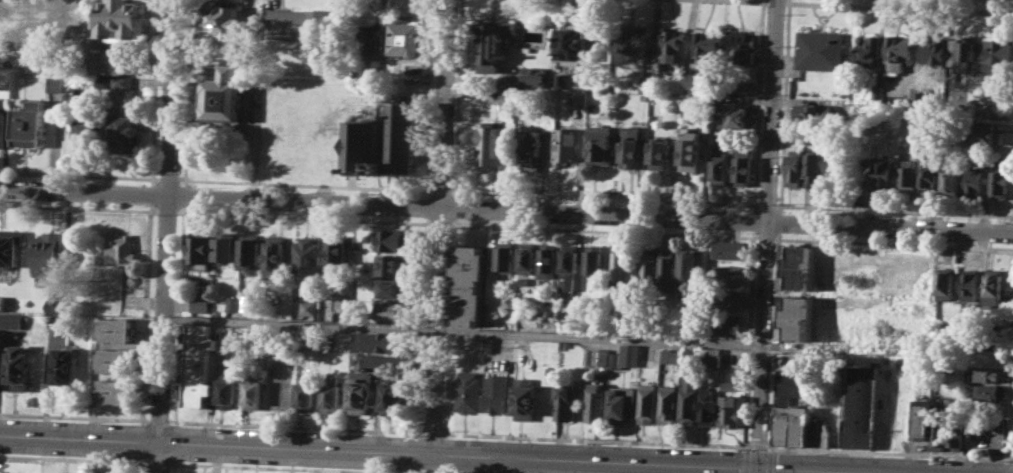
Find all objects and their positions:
road: (757, 0)
road: (874, 5)
road: (422, 9)
building: (121, 18)
building: (227, 20)
building: (298, 22)
building: (410, 38)
building: (373, 39)
building: (631, 42)
building: (496, 43)
building: (708, 44)
building: (744, 44)
building: (674, 45)
building: (577, 48)
building: (821, 49)
building: (871, 51)
building: (900, 52)
building: (935, 52)
building: (964, 52)
building: (1000, 55)
building: (109, 61)
building: (534, 77)
building: (561, 80)
building: (695, 80)
building: (6, 81)
building: (103, 81)
building: (122, 81)
building: (651, 82)
building: (53, 83)
building: (729, 90)
building: (880, 91)
road: (189, 93)
building: (223, 94)
building: (921, 94)
building: (506, 99)
building: (581, 99)
road: (759, 102)
road: (785, 102)
building: (0, 108)
building: (807, 111)
building: (741, 117)
building: (29, 124)
building: (85, 130)
building: (126, 133)
building: (986, 133)
building: (363, 141)
building: (490, 143)
road: (256, 144)
building: (566, 145)
building: (631, 145)
building: (600, 146)
building: (532, 148)
building: (691, 149)
building: (660, 153)
building: (744, 165)
building: (795, 166)
building: (836, 167)
building: (720, 169)
building: (815, 169)
building: (929, 169)
building: (885, 170)
building: (908, 171)
building: (953, 180)
building: (974, 181)
building: (1002, 185)
road: (506, 193)
road: (185, 196)
road: (506, 209)
road: (167, 220)
road: (439, 226)
road: (506, 226)
road: (150, 230)
road: (768, 233)
building: (394, 240)
building: (10, 246)
building: (201, 246)
building: (225, 246)
building: (250, 249)
building: (731, 249)
building: (120, 251)
building: (49, 253)
building: (336, 253)
building: (275, 255)
building: (307, 257)
building: (506, 257)
building: (528, 257)
building: (570, 258)
building: (596, 258)
building: (549, 260)
building: (621, 263)
building: (650, 263)
building: (392, 264)
building: (470, 265)
building: (799, 267)
building: (668, 268)
building: (690, 268)
building: (729, 273)
building: (948, 280)
building: (568, 282)
building: (972, 284)
building: (995, 287)
building: (392, 288)
building: (729, 299)
building: (2, 301)
building: (201, 302)
building: (246, 302)
building: (232, 303)
building: (57, 305)
building: (470, 305)
building: (307, 306)
building: (393, 310)
road: (181, 315)
building: (798, 317)
building: (11, 321)
building: (727, 323)
building: (119, 329)
road: (486, 332)
building: (316, 338)
building: (994, 338)
building: (377, 341)
building: (489, 344)
building: (199, 345)
building: (597, 356)
building: (626, 356)
building: (672, 356)
building: (691, 356)
building: (713, 356)
building: (117, 360)
building: (67, 365)
building: (20, 367)
building: (984, 374)
building: (794, 375)
building: (197, 385)
building: (731, 385)
building: (797, 387)
building: (227, 389)
building: (115, 390)
building: (253, 390)
building: (361, 391)
building: (989, 391)
building: (306, 392)
building: (468, 392)
building: (332, 394)
building: (497, 394)
building: (393, 396)
building: (526, 398)
building: (565, 400)
building: (690, 400)
building: (794, 400)
building: (596, 402)
building: (622, 403)
building: (648, 403)
building: (669, 403)
building: (860, 406)
building: (710, 407)
building: (731, 410)
road: (79, 416)
building: (923, 418)
building: (793, 425)
building: (940, 429)
building: (988, 429)
building: (819, 432)
building: (957, 433)
road: (174, 442)
building: (945, 442)
road: (447, 453)
road: (157, 456)
road: (72, 458)
road: (158, 462)
road: (498, 464)
parking lot: (2, 466)
road: (173, 466)
road: (145, 467)
road: (283, 467)
traffic signals: (759, 467)
road: (758, 470)
building: (99, 472)
building: (113, 472)

